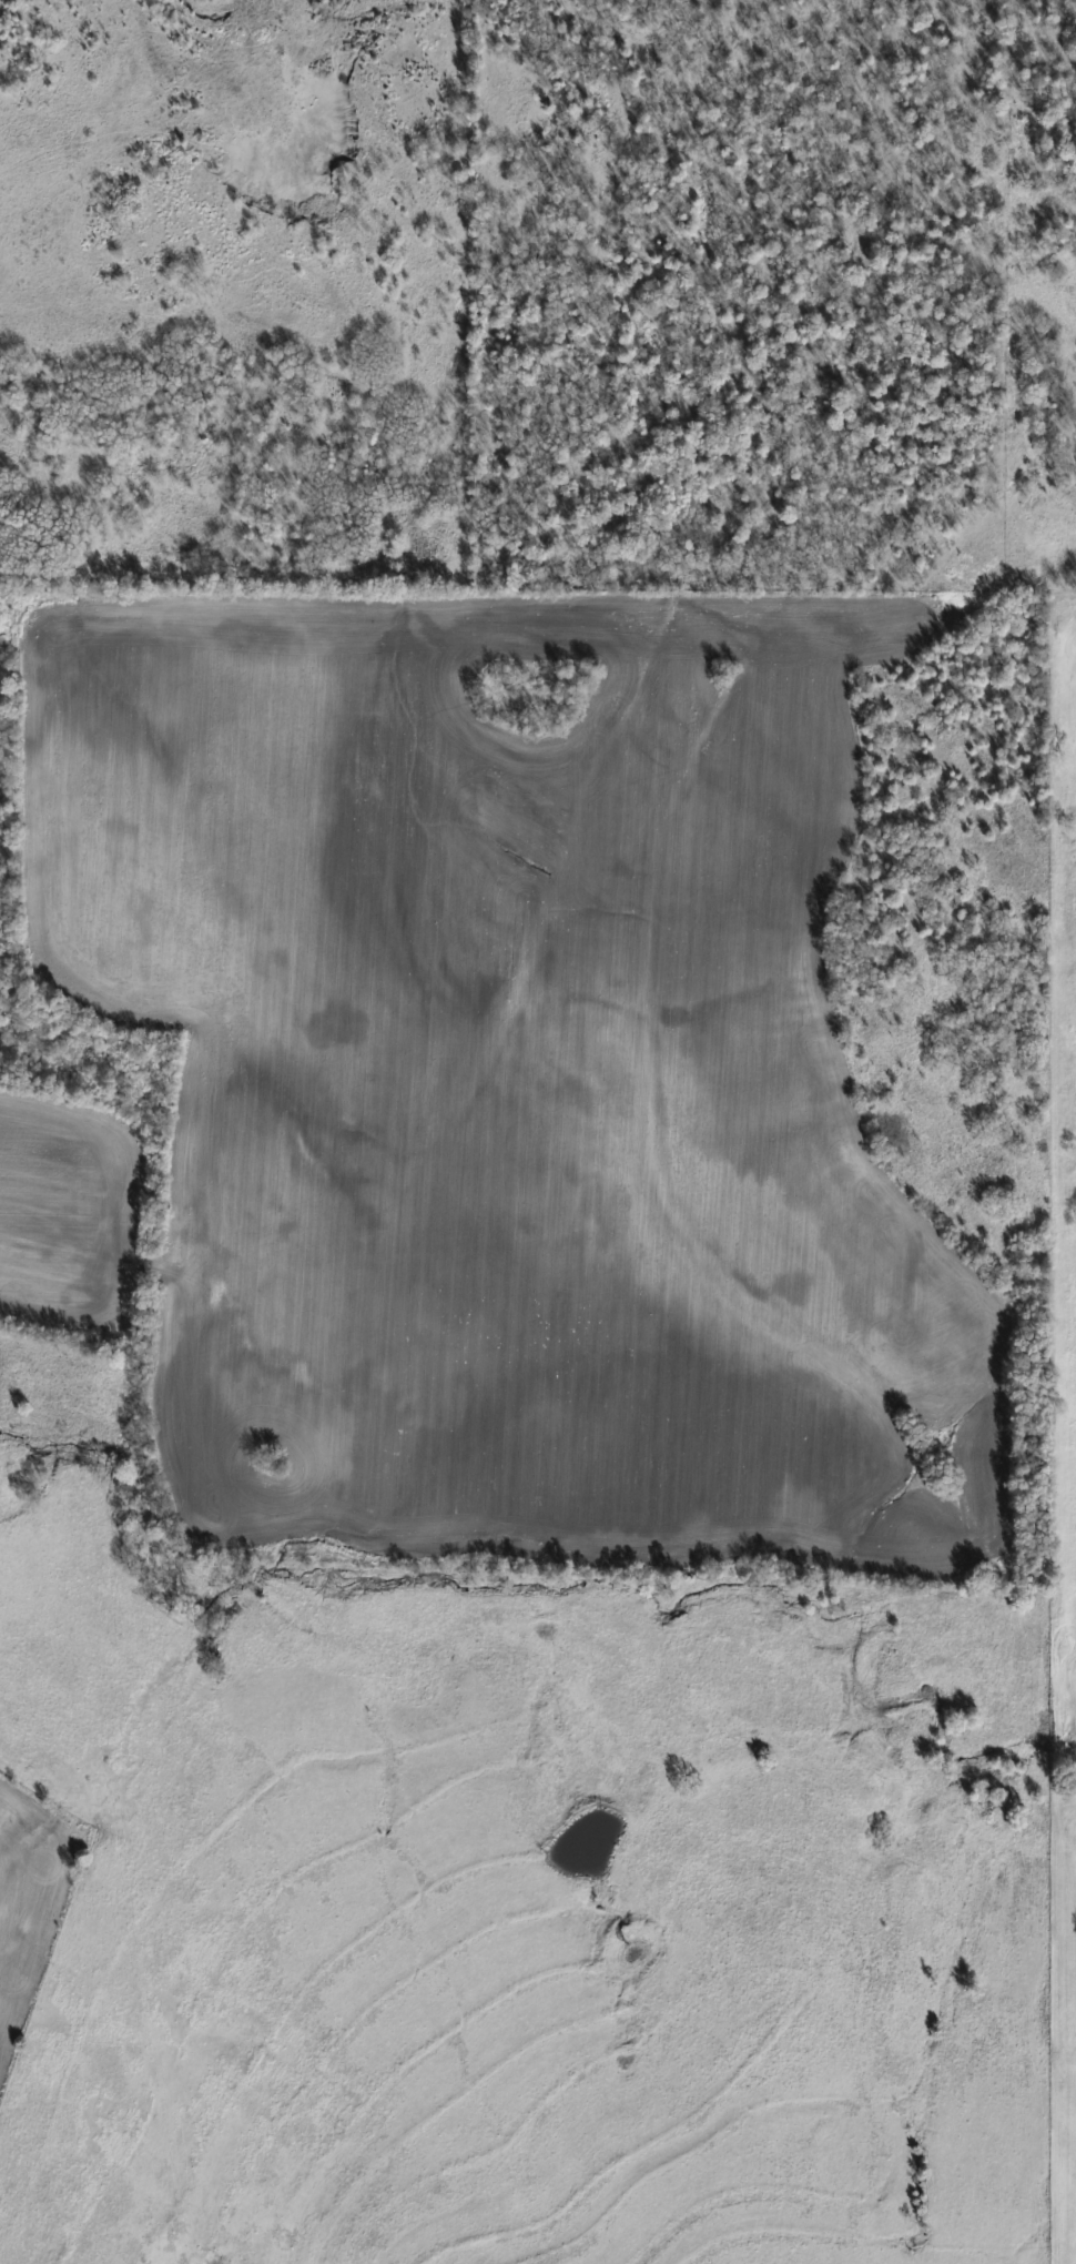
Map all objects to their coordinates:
crop: (29, 1896)

